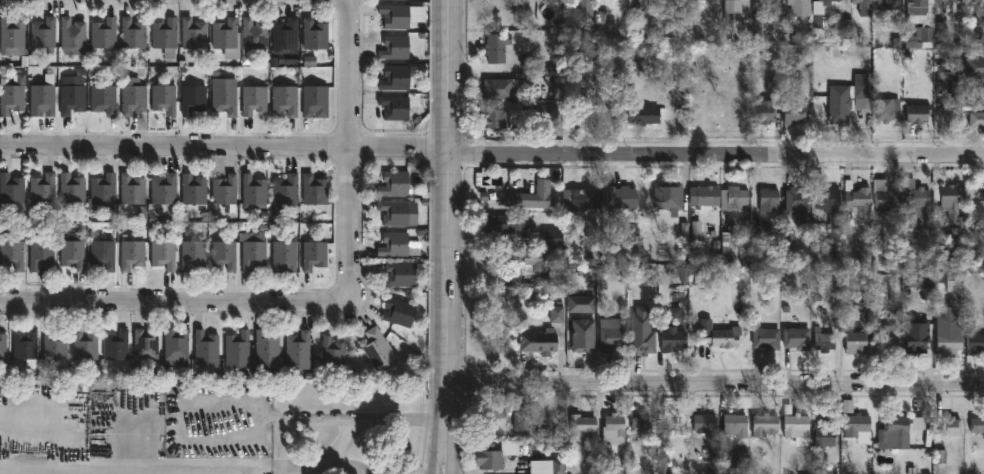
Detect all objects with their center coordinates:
building: (768, 1)
building: (862, 1)
building: (699, 3)
building: (954, 3)
building: (887, 4)
building: (737, 6)
building: (801, 7)
building: (584, 9)
building: (820, 11)
building: (395, 16)
building: (921, 20)
building: (72, 33)
building: (104, 33)
building: (132, 33)
building: (193, 33)
building: (315, 34)
building: (43, 35)
building: (165, 36)
building: (11, 37)
building: (227, 37)
building: (253, 37)
building: (286, 39)
building: (395, 47)
building: (497, 47)
building: (981, 70)
road: (450, 76)
building: (396, 78)
building: (554, 79)
building: (500, 89)
building: (12, 94)
building: (979, 94)
building: (224, 96)
building: (43, 97)
building: (71, 97)
building: (193, 98)
building: (103, 99)
building: (133, 99)
building: (164, 99)
building: (254, 99)
building: (285, 99)
building: (848, 99)
building: (315, 101)
building: (395, 107)
building: (585, 107)
building: (741, 108)
building: (889, 110)
building: (795, 111)
building: (546, 113)
building: (765, 113)
building: (919, 113)
building: (641, 114)
building: (977, 119)
building: (496, 120)
road: (225, 151)
road: (352, 151)
road: (716, 154)
building: (395, 183)
building: (71, 189)
building: (42, 190)
building: (132, 190)
building: (163, 190)
building: (193, 190)
building: (224, 190)
building: (314, 190)
building: (10, 191)
building: (254, 192)
building: (102, 193)
building: (284, 194)
building: (533, 196)
building: (889, 196)
building: (983, 196)
building: (621, 197)
building: (705, 197)
building: (670, 198)
building: (737, 198)
building: (586, 199)
building: (797, 200)
building: (856, 200)
building: (769, 201)
building: (915, 204)
building: (950, 205)
building: (830, 207)
building: (394, 213)
building: (503, 223)
building: (394, 245)
building: (253, 249)
building: (132, 251)
building: (73, 252)
building: (12, 254)
building: (41, 254)
building: (103, 254)
building: (163, 254)
building: (192, 254)
building: (224, 254)
building: (284, 254)
building: (314, 254)
building: (529, 263)
building: (400, 275)
road: (448, 295)
road: (177, 303)
building: (399, 312)
building: (642, 332)
building: (583, 335)
building: (918, 335)
building: (612, 336)
building: (538, 338)
building: (722, 338)
building: (767, 338)
building: (797, 338)
building: (673, 340)
building: (888, 340)
building: (824, 341)
building: (974, 341)
building: (856, 342)
building: (949, 343)
building: (266, 344)
building: (54, 345)
building: (3, 346)
building: (85, 346)
building: (116, 346)
building: (145, 346)
building: (205, 346)
building: (298, 346)
building: (25, 347)
building: (175, 348)
building: (378, 349)
building: (237, 350)
building: (332, 356)
road: (715, 383)
road: (248, 402)
building: (494, 409)
building: (521, 419)
building: (704, 422)
building: (582, 424)
building: (641, 424)
building: (735, 424)
building: (765, 425)
building: (857, 425)
building: (978, 425)
building: (797, 426)
building: (952, 427)
building: (825, 431)
building: (893, 432)
building: (613, 433)
road: (449, 449)
road: (339, 451)
building: (496, 454)
road: (435, 455)
road: (70, 467)
road: (454, 467)
road: (240, 468)
building: (541, 468)
building: (824, 471)

